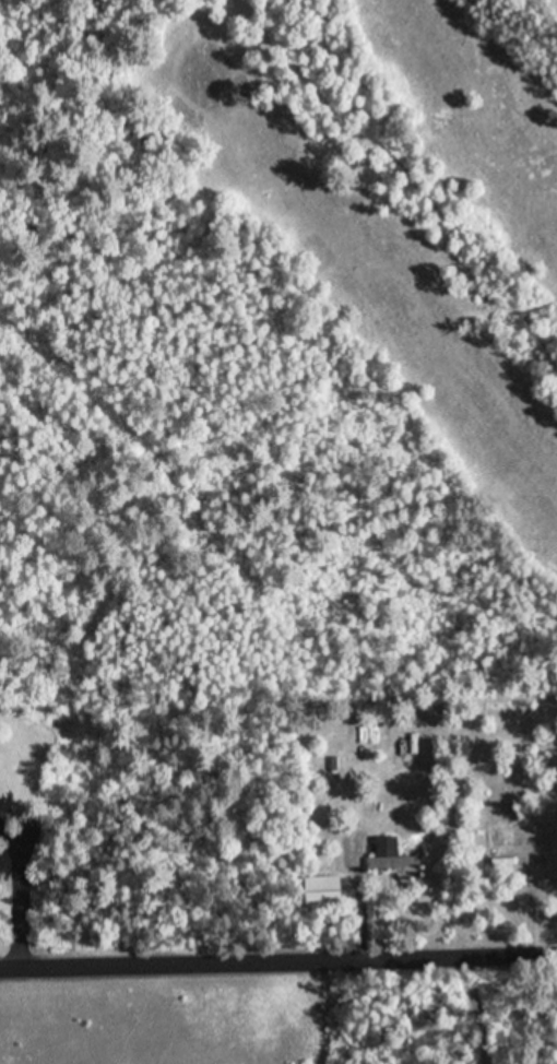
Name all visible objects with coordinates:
road: (413, 174)
park: (387, 205)
road: (550, 561)
parking lot: (1, 819)
building: (396, 853)
building: (325, 888)
road: (20, 892)
road: (278, 959)
road: (481, 1008)

